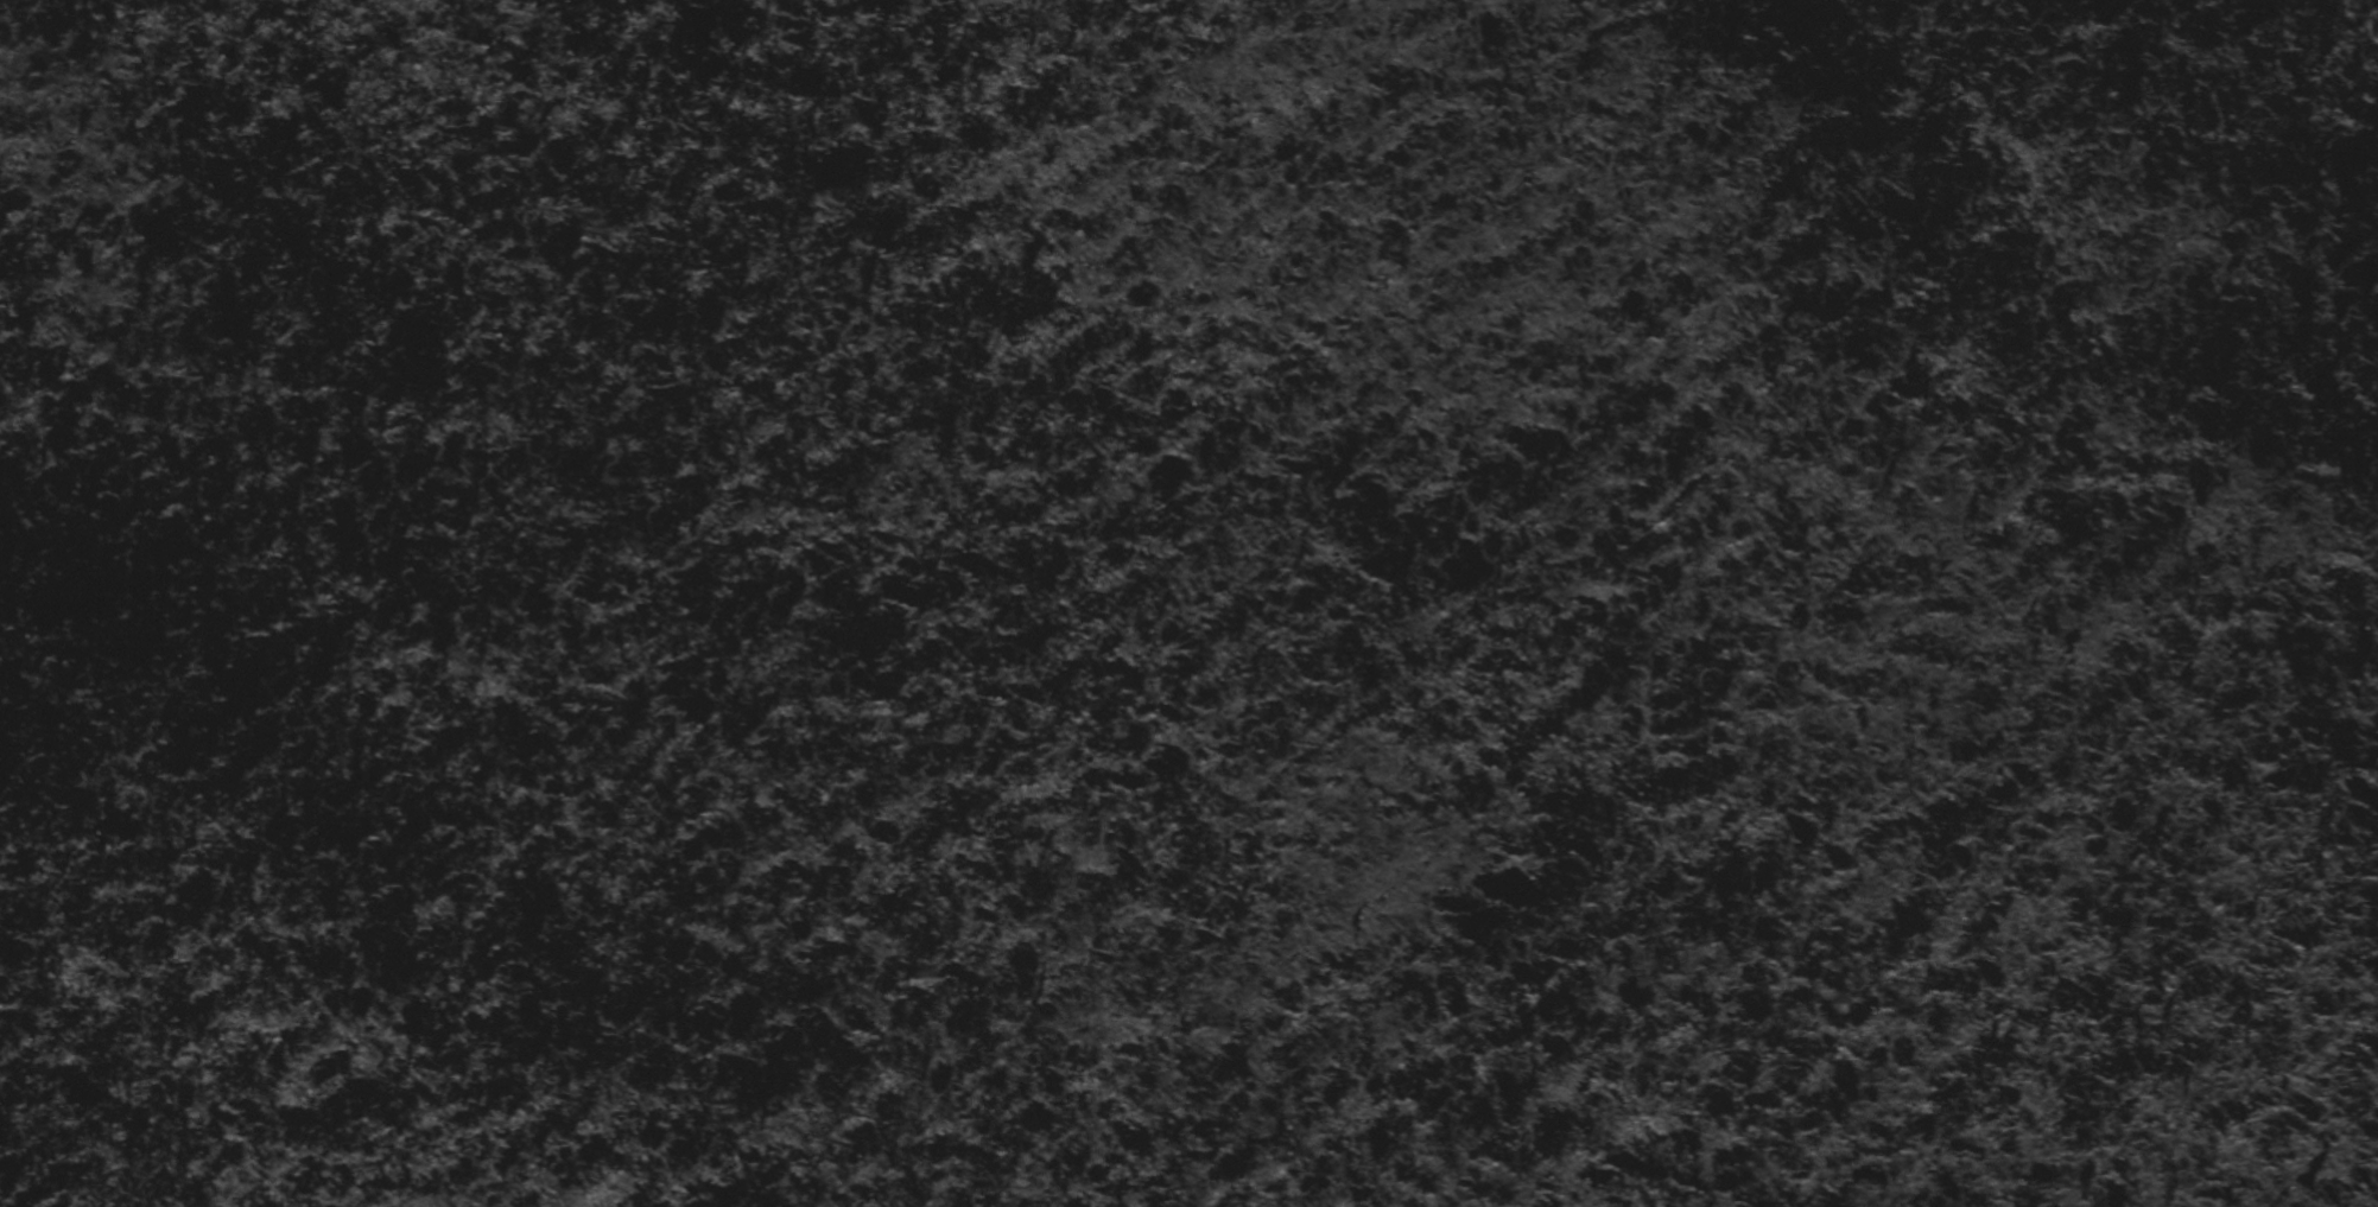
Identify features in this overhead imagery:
river: (2226, 1076)

